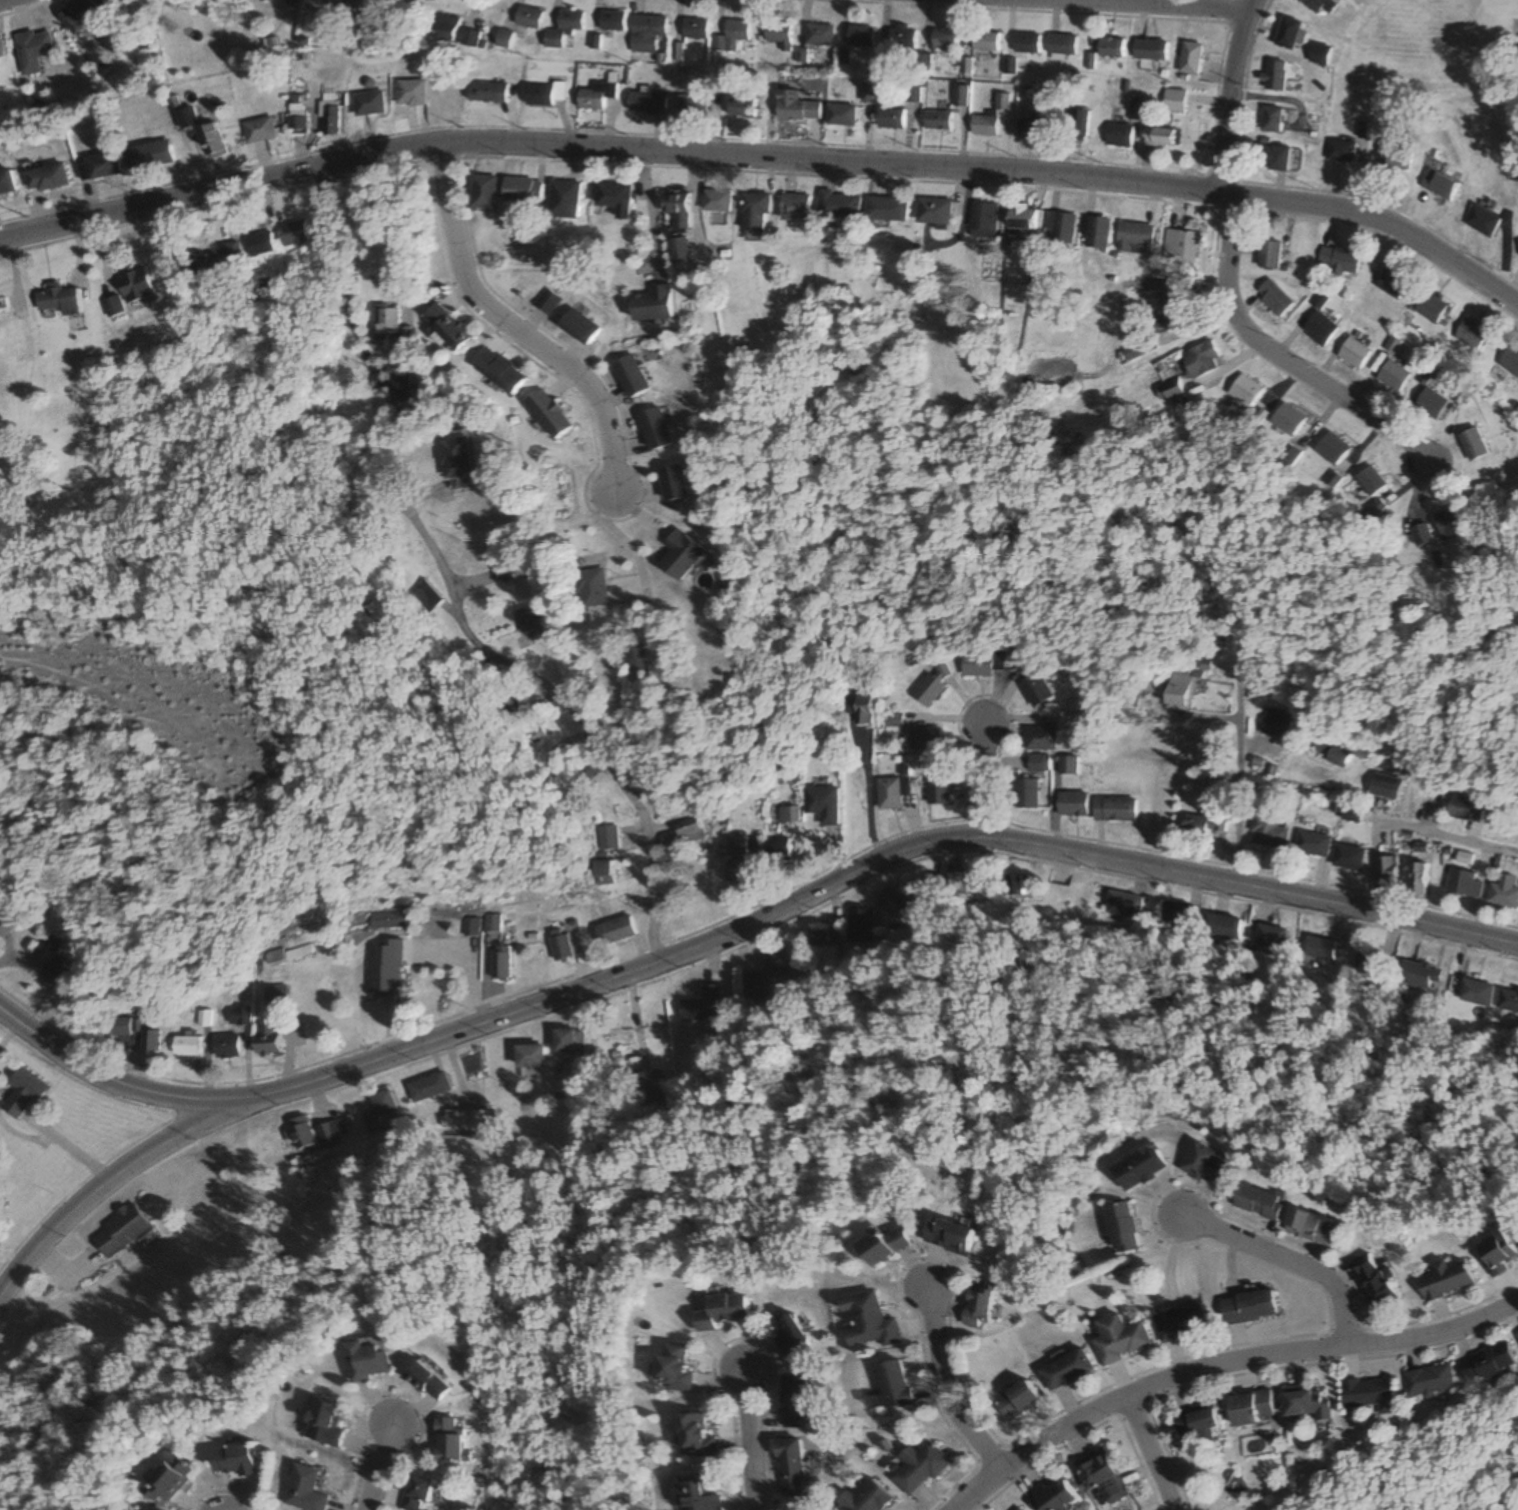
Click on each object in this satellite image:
road: (1146, 5)
road: (1249, 8)
park: (1441, 68)
road: (1229, 104)
road: (767, 157)
park: (417, 220)
road: (514, 327)
road: (1278, 357)
road: (218, 457)
road: (504, 661)
road: (620, 716)
road: (982, 779)
road: (1239, 784)
road: (1397, 825)
road: (884, 860)
road: (131, 1083)
road: (125, 1172)
road: (1284, 1257)
road: (1219, 1362)
road: (936, 1385)
road: (751, 1440)
road: (1148, 1451)
road: (377, 1465)

